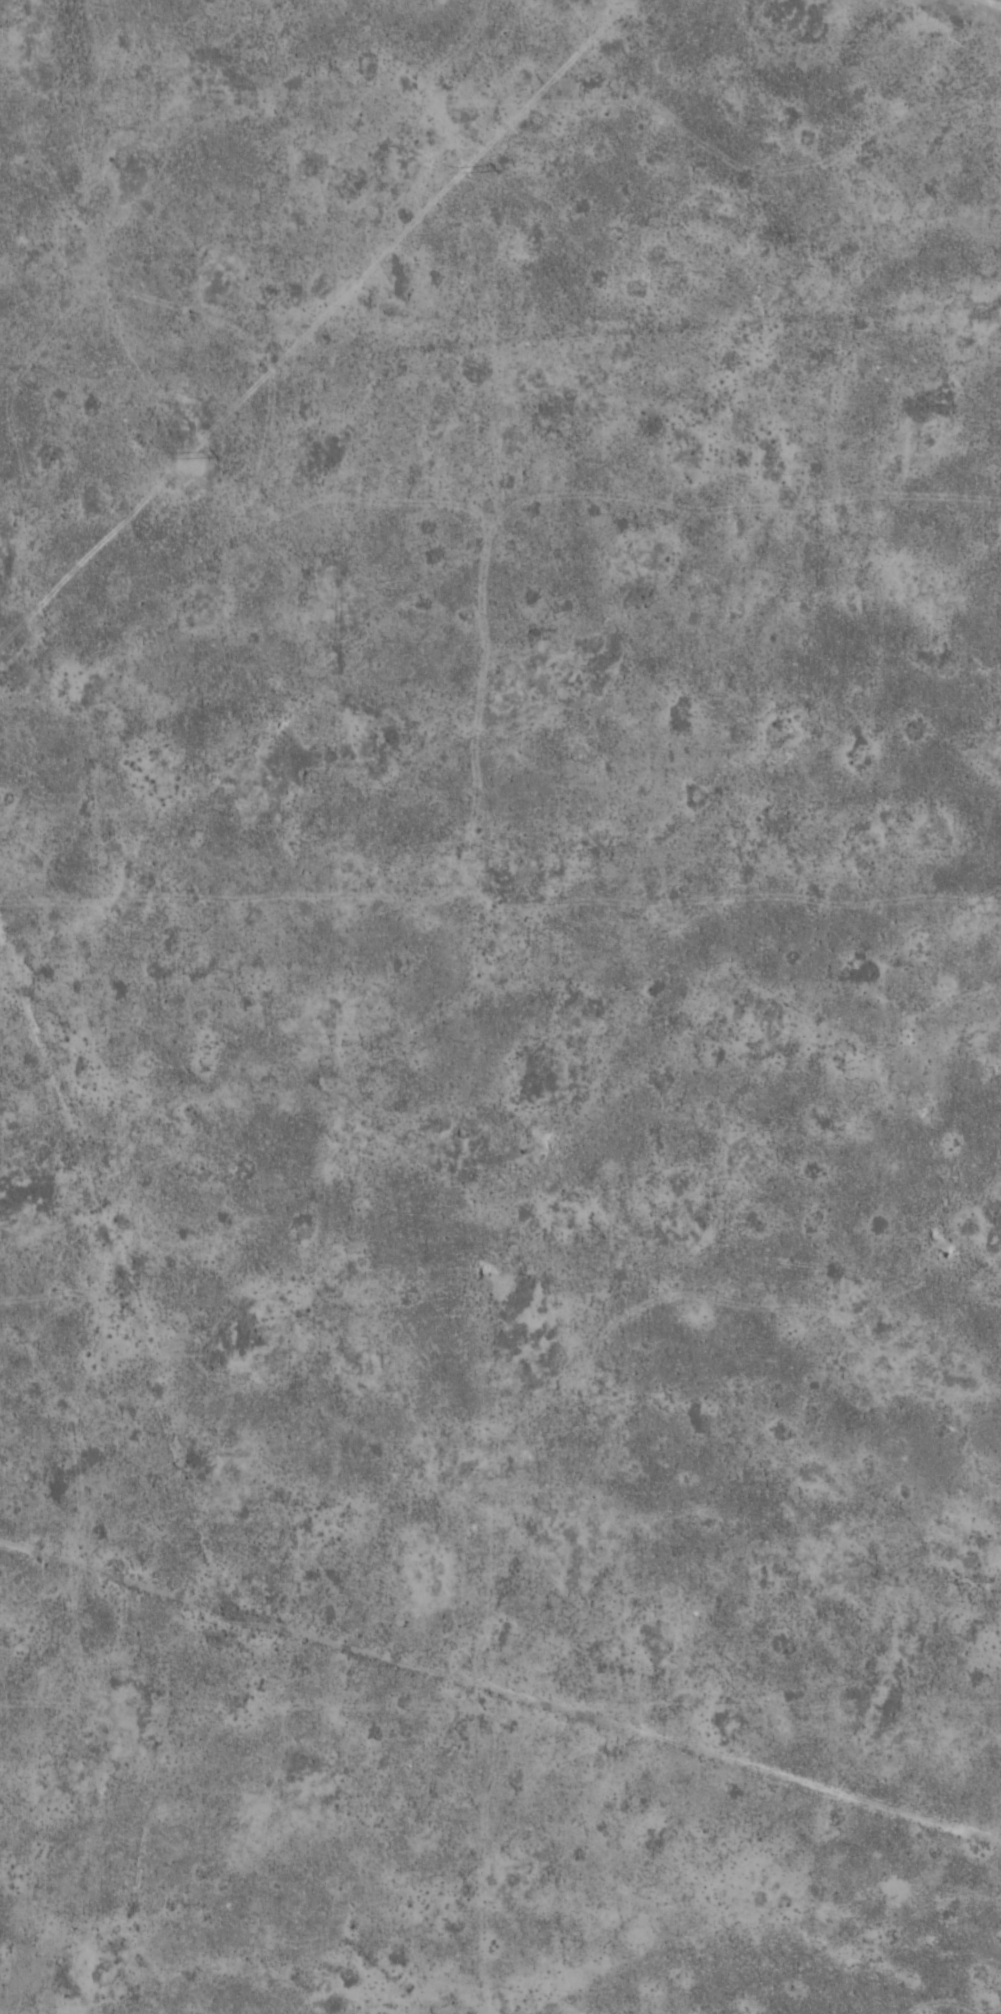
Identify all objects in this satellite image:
road: (317, 1521)

